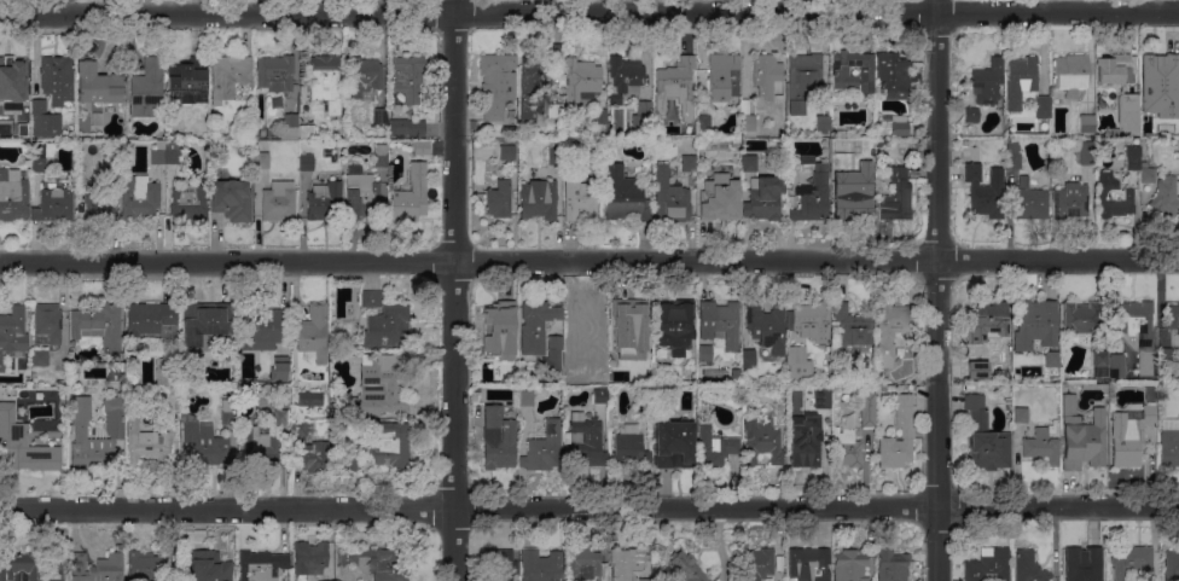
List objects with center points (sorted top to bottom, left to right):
road: (588, 14)
building: (1113, 69)
building: (766, 70)
building: (841, 70)
building: (275, 72)
building: (1070, 72)
building: (626, 74)
building: (1157, 74)
building: (230, 75)
building: (362, 75)
building: (805, 75)
building: (13, 76)
building: (891, 76)
building: (58, 77)
building: (410, 77)
building: (724, 77)
building: (676, 79)
building: (581, 80)
building: (1020, 80)
building: (188, 81)
building: (326, 81)
building: (987, 81)
building: (98, 82)
building: (498, 85)
building: (533, 86)
building: (147, 88)
building: (586, 97)
building: (1042, 106)
building: (554, 110)
building: (657, 110)
building: (289, 111)
building: (381, 115)
building: (599, 115)
building: (971, 115)
building: (1126, 115)
building: (643, 117)
building: (1173, 117)
building: (45, 118)
building: (749, 118)
building: (823, 122)
building: (894, 123)
building: (1087, 123)
building: (290, 126)
building: (704, 126)
building: (407, 127)
building: (23, 130)
building: (308, 132)
building: (840, 133)
building: (290, 143)
building: (882, 143)
building: (400, 144)
building: (419, 145)
building: (115, 146)
building: (260, 146)
building: (506, 151)
building: (554, 151)
building: (158, 152)
building: (1086, 152)
building: (1012, 155)
building: (39, 156)
building: (173, 156)
building: (381, 156)
building: (1132, 157)
building: (262, 159)
building: (307, 162)
building: (689, 163)
building: (749, 163)
building: (843, 163)
building: (355, 168)
building: (112, 169)
building: (670, 173)
building: (1146, 173)
building: (137, 192)
building: (812, 192)
building: (983, 193)
building: (361, 194)
building: (410, 194)
building: (623, 194)
building: (859, 194)
building: (13, 196)
building: (896, 196)
building: (1113, 196)
building: (720, 197)
building: (763, 197)
building: (499, 198)
building: (539, 198)
building: (579, 198)
building: (1166, 198)
building: (232, 199)
building: (190, 201)
building: (279, 201)
building: (325, 201)
building: (1071, 201)
building: (672, 202)
building: (1028, 202)
building: (54, 204)
building: (95, 208)
road: (589, 263)
road: (452, 290)
road: (937, 290)
building: (371, 297)
building: (150, 316)
building: (1081, 318)
building: (1173, 318)
building: (48, 320)
building: (204, 321)
building: (811, 321)
building: (261, 323)
building: (720, 323)
building: (1136, 323)
building: (98, 324)
building: (586, 324)
building: (1035, 324)
building: (536, 325)
building: (673, 325)
building: (767, 325)
building: (853, 325)
building: (986, 325)
building: (387, 326)
building: (499, 326)
building: (631, 329)
building: (889, 329)
building: (12, 332)
building: (313, 332)
building: (146, 344)
building: (704, 353)
building: (553, 354)
building: (1165, 355)
building: (40, 358)
building: (748, 358)
building: (798, 362)
building: (1100, 364)
building: (1053, 365)
building: (1117, 365)
building: (280, 367)
building: (214, 368)
building: (169, 384)
building: (890, 388)
building: (376, 389)
building: (600, 395)
building: (523, 396)
building: (310, 397)
building: (823, 397)
building: (641, 400)
building: (4, 402)
building: (869, 408)
building: (1131, 409)
building: (115, 411)
building: (228, 411)
building: (1020, 414)
building: (281, 416)
building: (298, 430)
building: (907, 431)
building: (1128, 435)
building: (1082, 436)
building: (985, 437)
building: (91, 438)
building: (499, 438)
building: (762, 438)
building: (586, 440)
building: (806, 441)
building: (1169, 442)
building: (203, 443)
building: (673, 443)
building: (847, 443)
building: (149, 445)
building: (389, 445)
building: (261, 446)
building: (1040, 446)
building: (628, 447)
building: (715, 447)
building: (18, 448)
building: (544, 448)
building: (315, 457)
building: (349, 463)
road: (589, 510)
building: (309, 558)
building: (377, 562)
building: (1132, 562)
building: (503, 563)
building: (627, 563)
building: (759, 563)
building: (261, 564)
building: (585, 564)
building: (809, 564)
building: (541, 565)
building: (850, 565)
building: (891, 565)
building: (988, 565)
building: (1093, 565)
building: (1172, 565)
building: (29, 567)
building: (97, 567)
building: (146, 567)
building: (210, 567)
building: (1029, 567)
building: (687, 568)
building: (645, 579)

